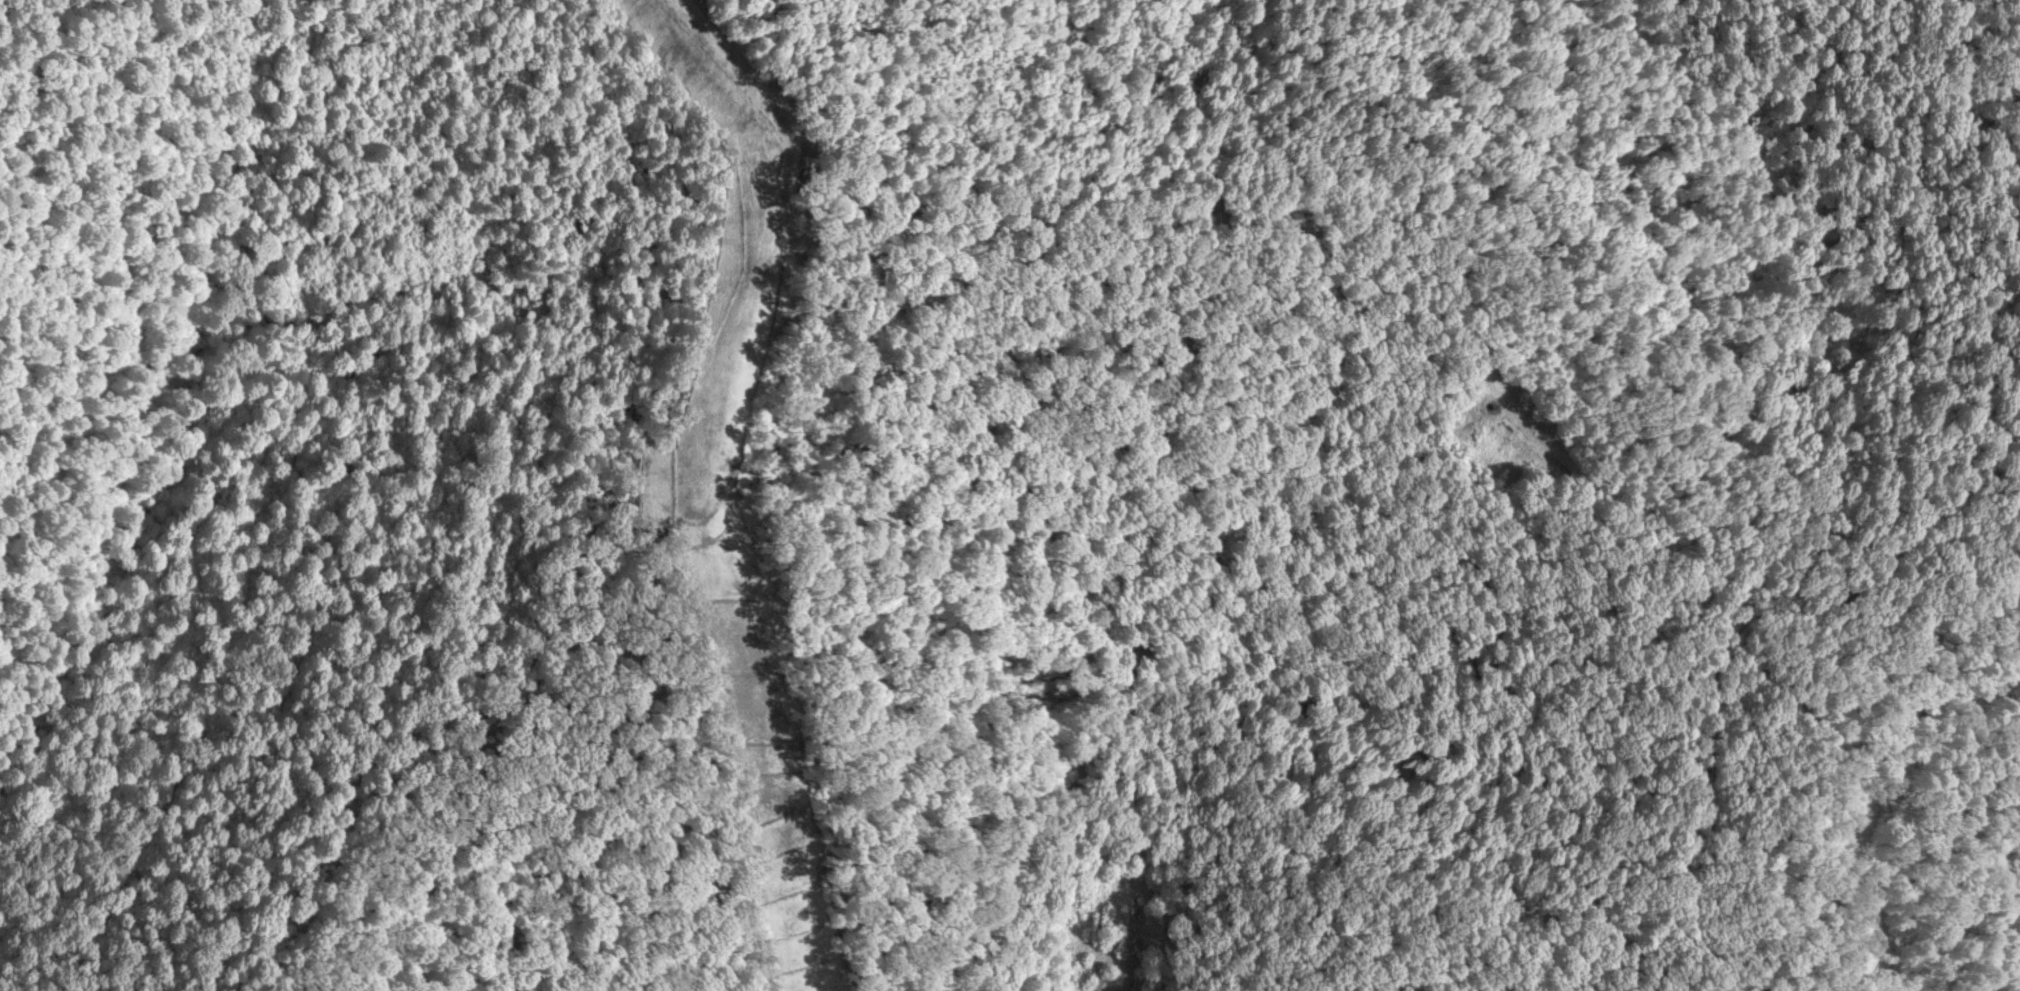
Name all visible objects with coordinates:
road: (1997, 4)

